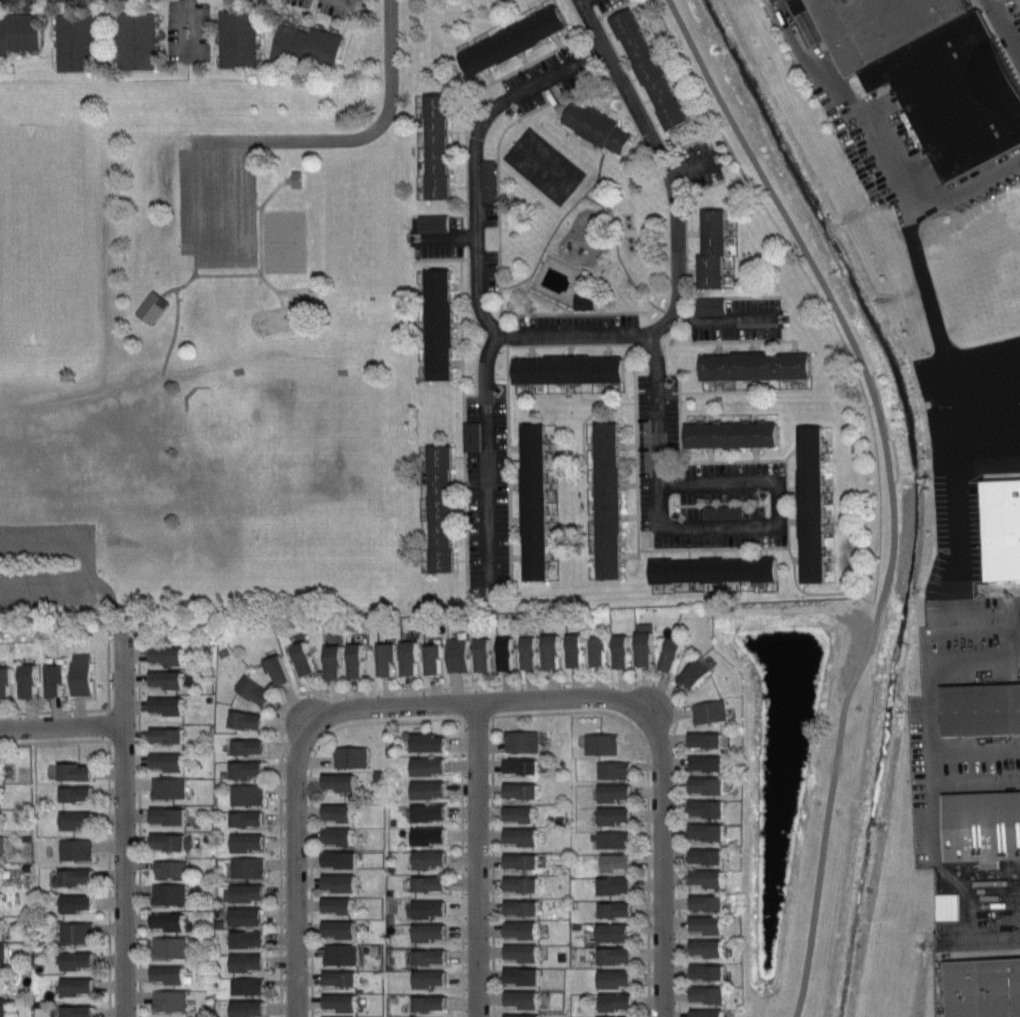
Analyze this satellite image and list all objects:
road: (348, 2)
road: (528, 3)
road: (1000, 6)
parking lot: (1011, 15)
road: (297, 16)
road: (311, 20)
road: (328, 22)
building: (876, 25)
road: (160, 26)
road: (187, 27)
road: (344, 27)
road: (262, 29)
road: (610, 30)
building: (20, 33)
road: (1000, 37)
building: (238, 38)
building: (136, 40)
building: (514, 40)
road: (558, 40)
building: (76, 41)
building: (307, 48)
road: (622, 53)
road: (524, 58)
road: (342, 65)
road: (280, 67)
building: (650, 68)
road: (489, 76)
road: (634, 76)
road: (487, 84)
road: (635, 89)
building: (955, 93)
road: (646, 100)
road: (606, 110)
road: (533, 111)
road: (557, 121)
road: (658, 122)
building: (597, 126)
road: (458, 130)
road: (353, 136)
building: (439, 145)
road: (605, 149)
road: (668, 163)
road: (689, 164)
park: (544, 165)
road: (879, 167)
building: (295, 178)
road: (459, 185)
road: (962, 185)
road: (198, 199)
parking lot: (216, 199)
road: (237, 199)
road: (598, 201)
road: (606, 205)
park: (579, 211)
road: (685, 211)
road: (440, 214)
road: (260, 220)
building: (428, 222)
road: (556, 224)
park: (49, 232)
road: (695, 232)
road: (445, 235)
park: (284, 240)
building: (713, 251)
road: (468, 255)
road: (618, 256)
road: (219, 258)
road: (245, 272)
road: (190, 277)
road: (456, 284)
road: (687, 284)
road: (478, 285)
road: (751, 296)
building: (706, 305)
building: (152, 306)
road: (584, 311)
road: (535, 312)
road: (726, 319)
road: (457, 323)
building: (440, 324)
road: (177, 325)
road: (484, 331)
park: (214, 334)
road: (570, 335)
road: (661, 339)
road: (560, 344)
road: (982, 345)
road: (757, 346)
road: (717, 347)
road: (570, 349)
road: (608, 350)
road: (531, 352)
road: (457, 363)
building: (756, 365)
building: (570, 369)
road: (680, 390)
road: (719, 390)
road: (589, 398)
road: (463, 402)
road: (657, 406)
road: (593, 412)
building: (732, 434)
building: (468, 435)
park: (248, 441)
road: (628, 445)
road: (515, 447)
road: (791, 451)
road: (756, 453)
road: (710, 454)
road: (459, 456)
road: (572, 456)
road: (946, 461)
road: (983, 462)
road: (743, 481)
road: (629, 483)
road: (516, 486)
road: (794, 488)
road: (891, 488)
building: (608, 500)
building: (535, 501)
road: (787, 503)
building: (812, 504)
building: (442, 508)
road: (460, 508)
building: (719, 511)
road: (629, 516)
road: (517, 519)
road: (794, 521)
building: (998, 526)
road: (696, 528)
road: (460, 533)
road: (44, 539)
park: (319, 539)
road: (713, 548)
road: (765, 551)
road: (689, 552)
road: (715, 552)
road: (740, 552)
road: (663, 553)
road: (517, 556)
road: (797, 558)
road: (461, 559)
parking lot: (48, 561)
road: (89, 564)
building: (714, 570)
road: (44, 589)
road: (817, 593)
building: (639, 643)
building: (570, 649)
building: (536, 650)
building: (592, 650)
building: (616, 650)
building: (501, 652)
building: (479, 653)
building: (454, 654)
building: (666, 654)
building: (172, 655)
building: (298, 657)
building: (394, 657)
building: (429, 658)
building: (340, 660)
building: (1019, 663)
building: (274, 669)
building: (690, 673)
building: (83, 674)
building: (170, 679)
building: (31, 680)
building: (57, 680)
building: (7, 683)
road: (486, 685)
building: (259, 691)
road: (500, 701)
building: (170, 705)
road: (86, 709)
building: (978, 709)
building: (707, 711)
road: (932, 711)
building: (250, 719)
road: (62, 728)
building: (170, 735)
building: (699, 739)
road: (54, 741)
building: (518, 741)
building: (598, 743)
building: (253, 746)
building: (353, 756)
building: (171, 761)
building: (700, 762)
building: (424, 765)
building: (515, 765)
building: (253, 769)
building: (609, 769)
building: (4, 770)
building: (82, 771)
building: (342, 782)
building: (699, 784)
building: (170, 787)
building: (424, 789)
building: (515, 790)
building: (609, 791)
building: (80, 793)
road: (125, 793)
building: (3, 794)
building: (248, 795)
road: (647, 796)
road: (310, 804)
building: (700, 807)
building: (425, 811)
building: (341, 812)
building: (515, 813)
building: (171, 815)
building: (608, 815)
building: (251, 818)
building: (3, 819)
building: (80, 820)
building: (981, 823)
building: (699, 831)
building: (344, 835)
building: (425, 835)
building: (515, 835)
road: (139, 838)
building: (608, 839)
building: (172, 841)
building: (254, 842)
building: (2, 845)
building: (76, 849)
building: (700, 856)
building: (428, 858)
building: (343, 859)
road: (477, 859)
building: (515, 860)
building: (611, 861)
road: (294, 865)
road: (462, 866)
road: (492, 866)
building: (249, 867)
building: (174, 869)
building: (3, 873)
building: (78, 877)
road: (108, 877)
road: (666, 880)
building: (343, 882)
building: (426, 883)
building: (516, 883)
building: (609, 885)
building: (252, 893)
building: (170, 894)
road: (993, 897)
building: (3, 899)
building: (82, 902)
building: (700, 902)
building: (341, 905)
building: (944, 906)
building: (516, 907)
building: (435, 908)
building: (608, 909)
building: (252, 916)
building: (173, 921)
building: (702, 924)
building: (4, 925)
building: (344, 929)
building: (516, 929)
building: (433, 931)
building: (77, 932)
building: (606, 932)
building: (253, 939)
building: (171, 947)
building: (701, 947)
building: (2, 951)
building: (519, 952)
building: (342, 954)
building: (608, 955)
building: (431, 956)
building: (79, 960)
building: (253, 962)
building: (701, 971)
building: (172, 974)
building: (518, 975)
building: (342, 978)
building: (433, 978)
building: (607, 978)
building: (3, 980)
building: (983, 983)
building: (80, 986)
building: (249, 986)
building: (701, 994)
building: (518, 999)
building: (171, 1000)
building: (609, 1001)
building: (342, 1002)
building: (433, 1003)
building: (2, 1007)
building: (252, 1008)
building: (83, 1011)
building: (701, 1013)
building: (522, 1015)
building: (604, 1016)

